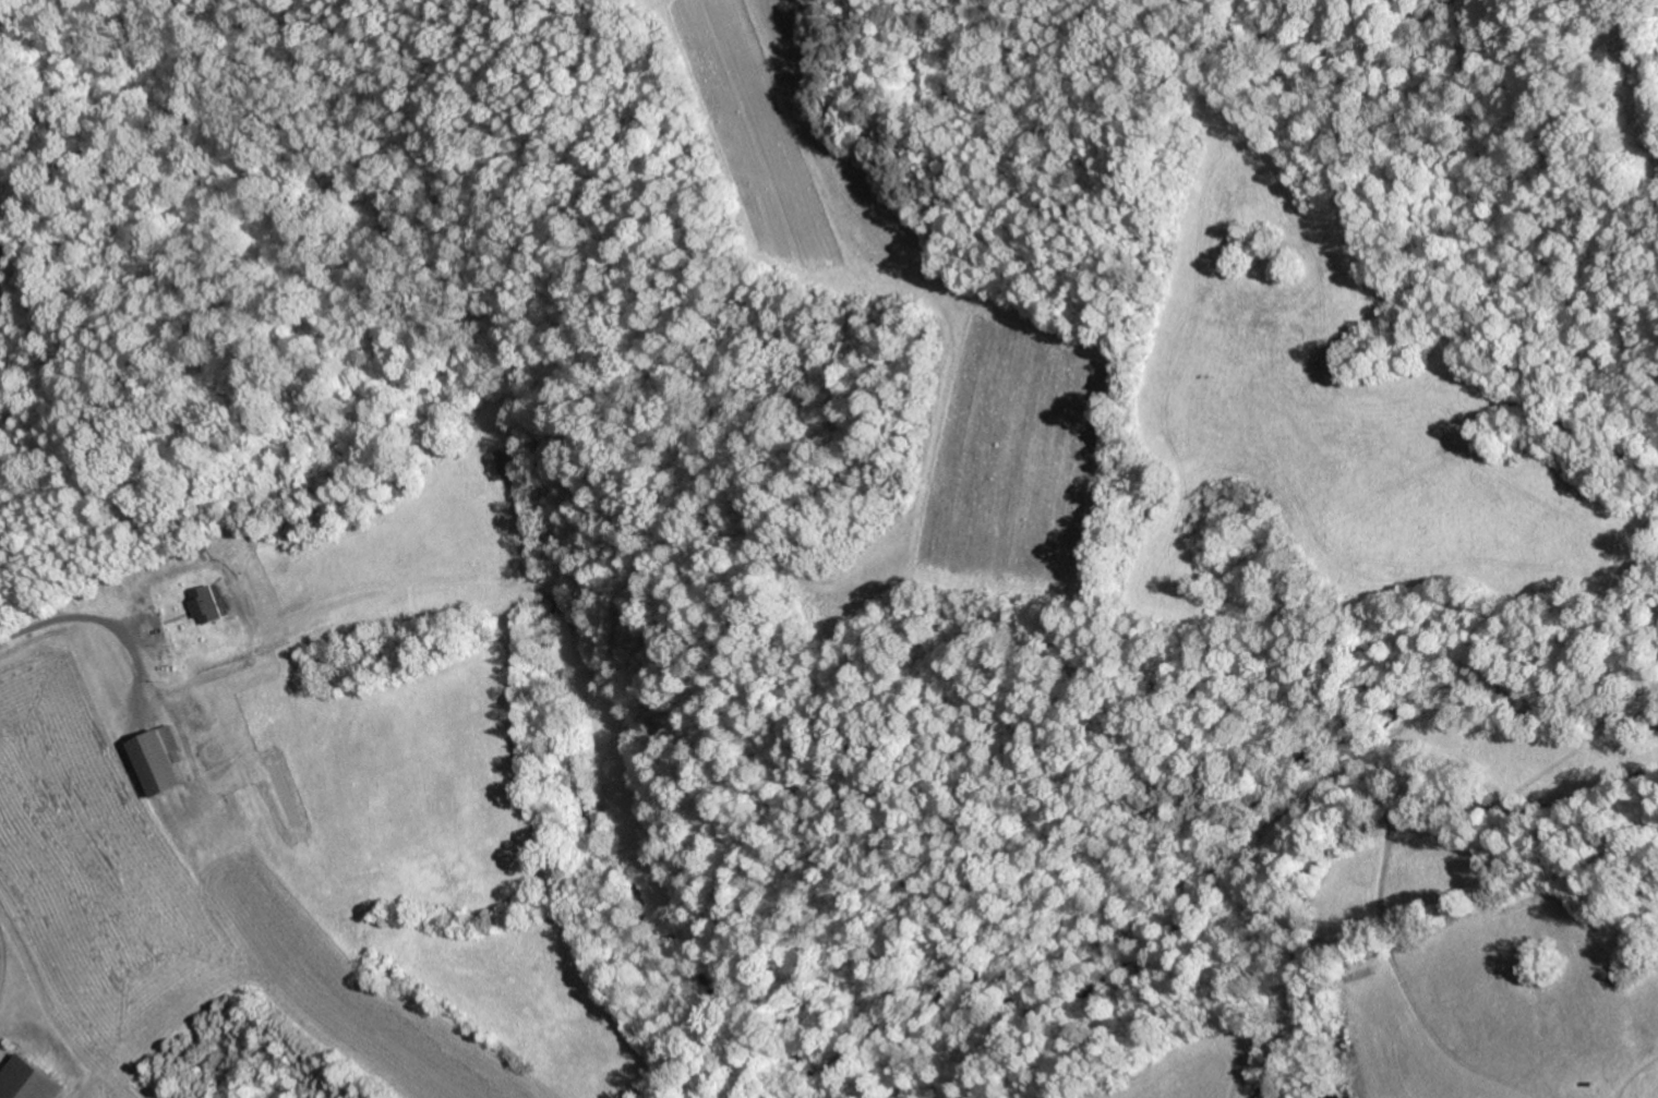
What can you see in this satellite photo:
building: (498, 464)
building: (208, 603)
building: (160, 761)
building: (27, 1081)

